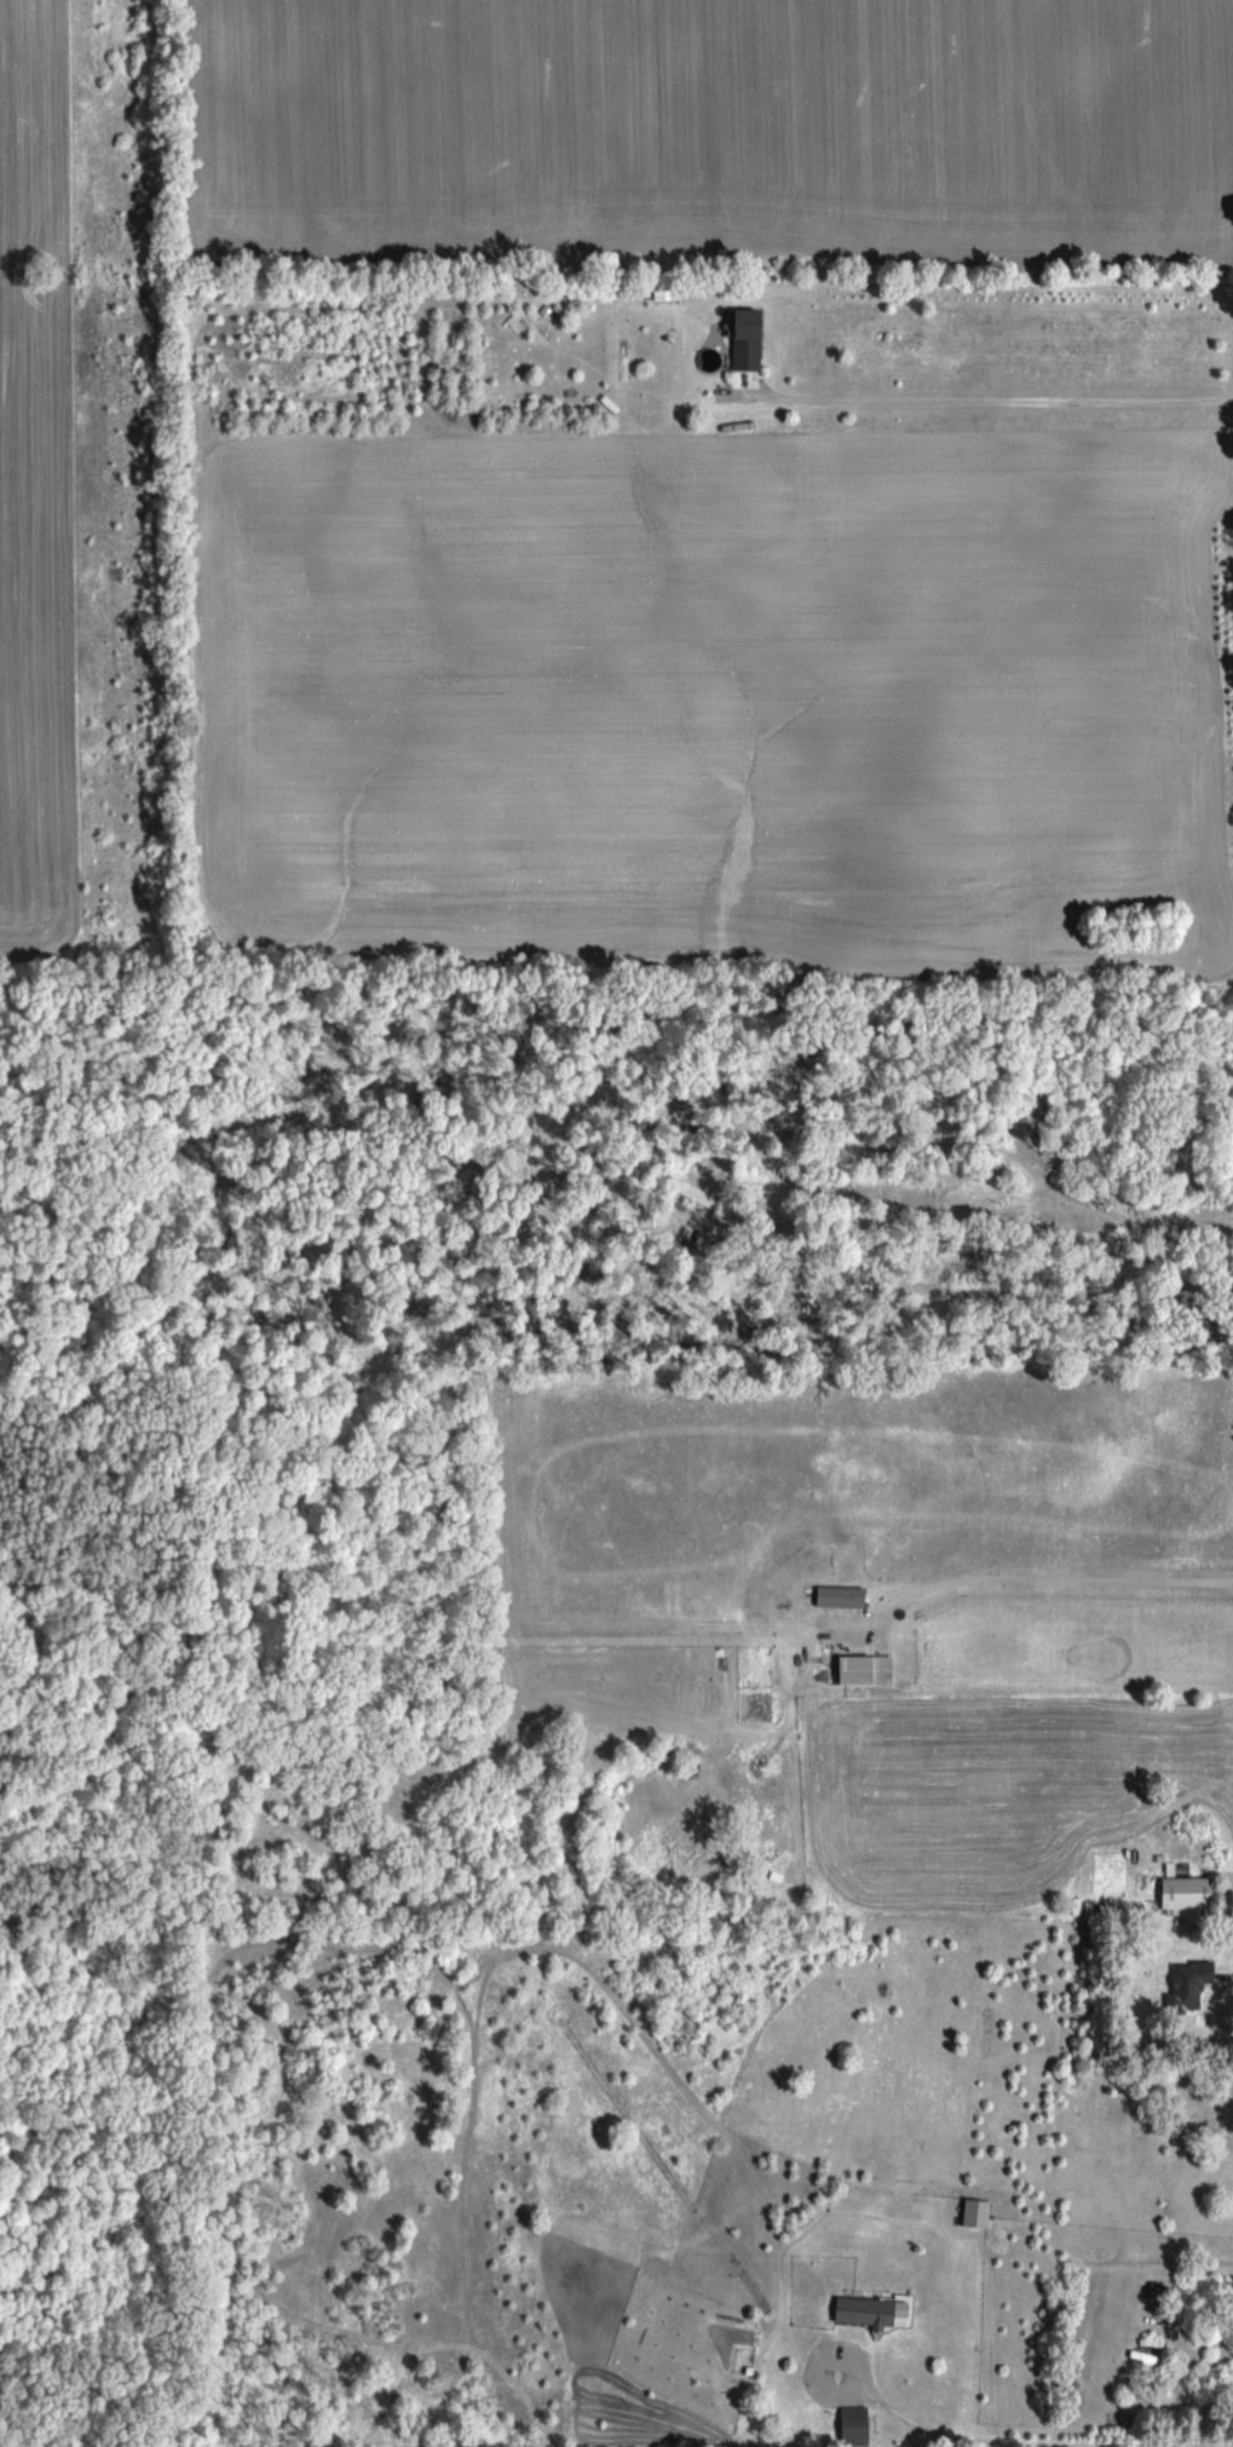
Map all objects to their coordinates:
building: (662, 292)
building: (741, 338)
road: (975, 404)
road: (1038, 1567)
building: (836, 1596)
building: (859, 1670)
building: (1180, 1893)
building: (1182, 1983)
building: (1210, 2112)
building: (859, 2310)
building: (849, 2425)
road: (908, 2428)

